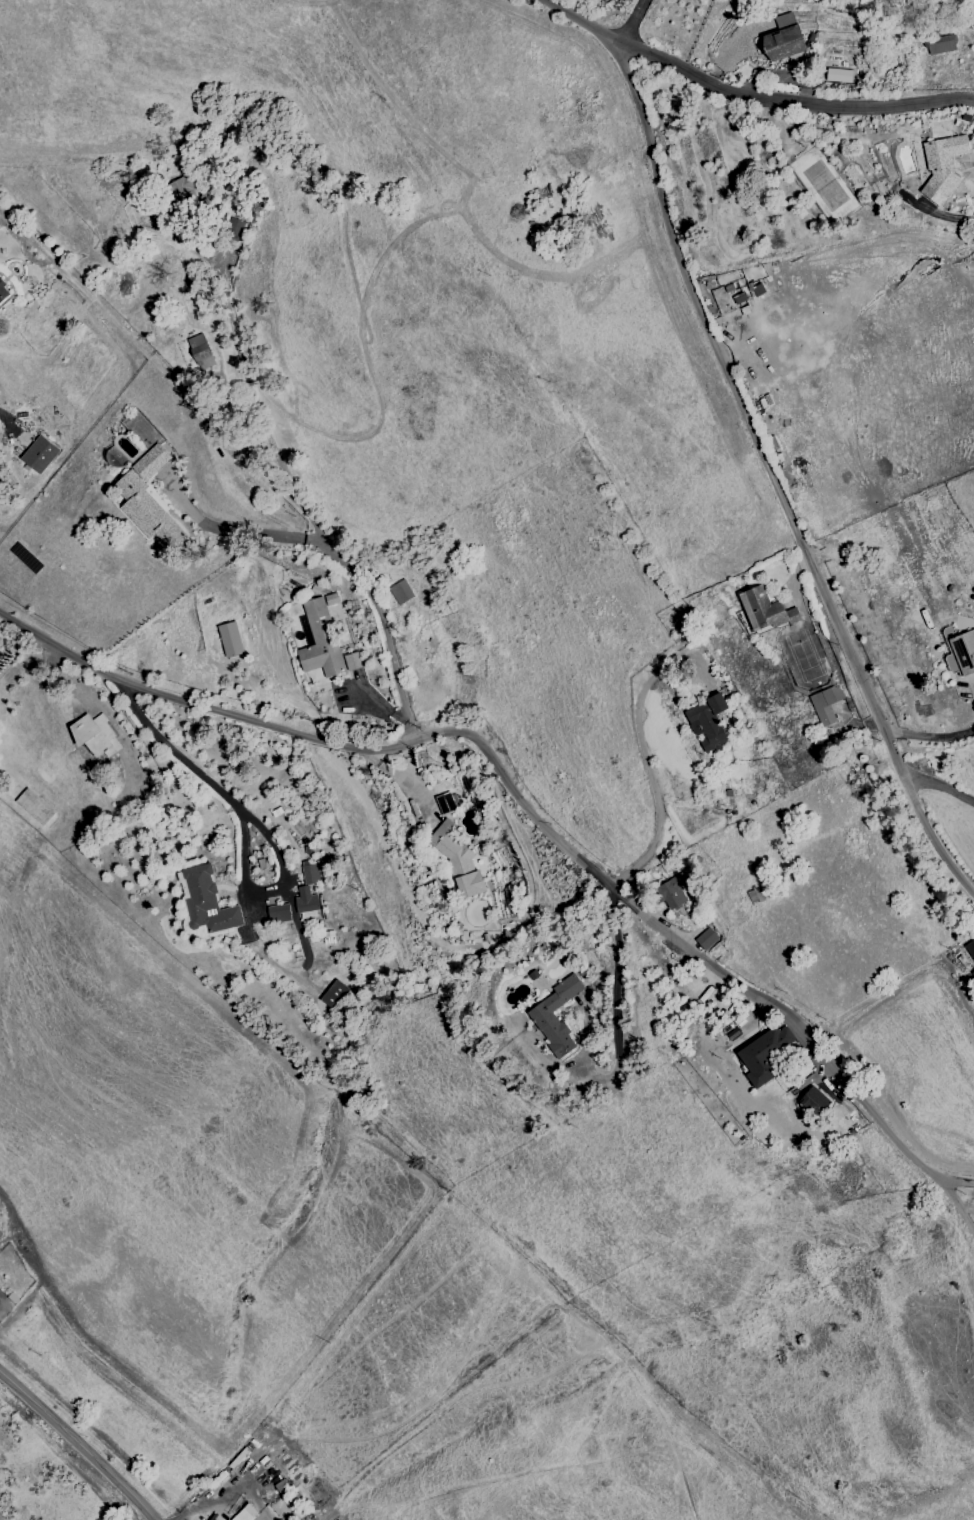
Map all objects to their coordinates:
road: (632, 21)
building: (783, 39)
building: (940, 44)
building: (838, 75)
road: (791, 106)
building: (942, 165)
building: (183, 188)
building: (233, 228)
building: (200, 351)
road: (244, 386)
road: (757, 441)
building: (39, 454)
building: (148, 501)
road: (238, 532)
building: (400, 592)
road: (376, 608)
building: (763, 610)
building: (319, 637)
building: (229, 639)
building: (961, 654)
building: (352, 661)
building: (825, 704)
road: (198, 705)
building: (707, 722)
building: (94, 735)
road: (930, 736)
road: (651, 780)
road: (940, 786)
building: (444, 803)
road: (205, 827)
road: (269, 834)
building: (457, 860)
building: (308, 887)
building: (670, 892)
building: (278, 913)
building: (706, 938)
building: (970, 949)
road: (704, 962)
building: (972, 974)
building: (337, 995)
road: (618, 1007)
building: (555, 1016)
building: (763, 1054)
building: (814, 1101)
road: (956, 1183)
road: (77, 1446)
road: (138, 1464)
road: (207, 1503)
building: (245, 1512)
building: (215, 1517)

